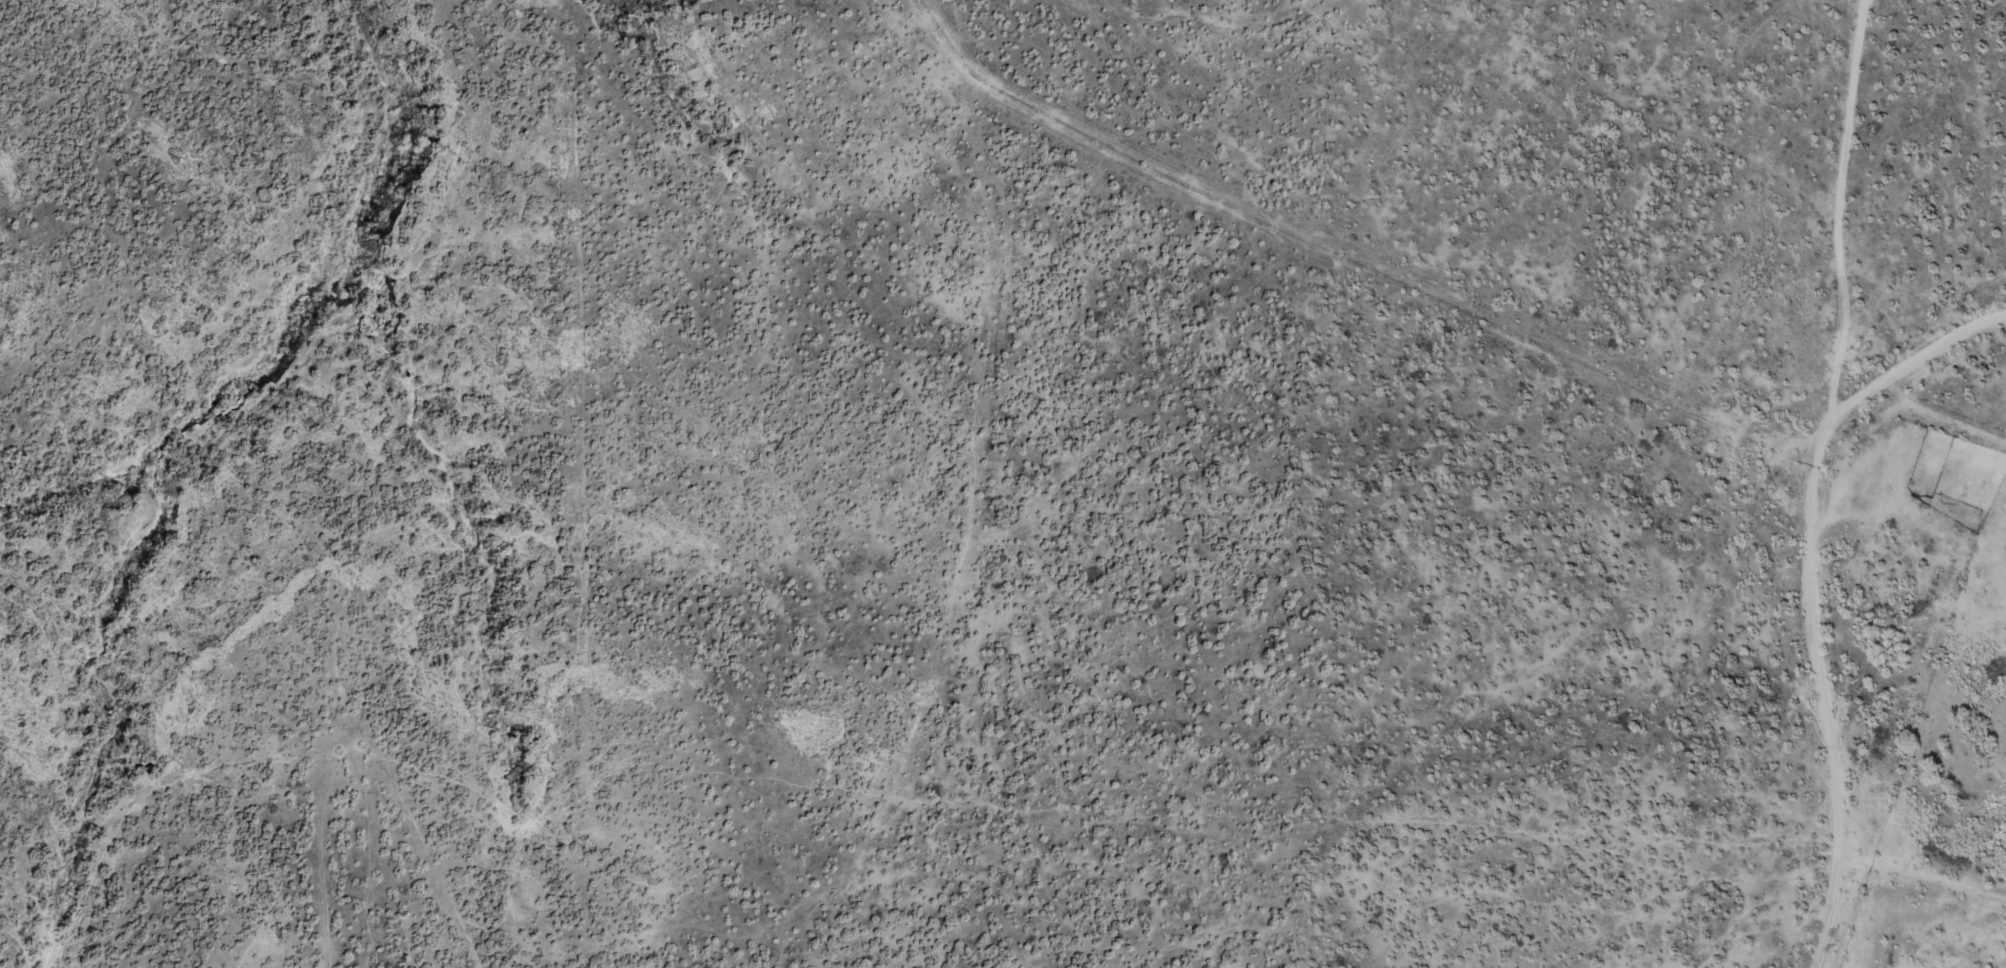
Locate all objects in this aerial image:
road: (1737, 566)

